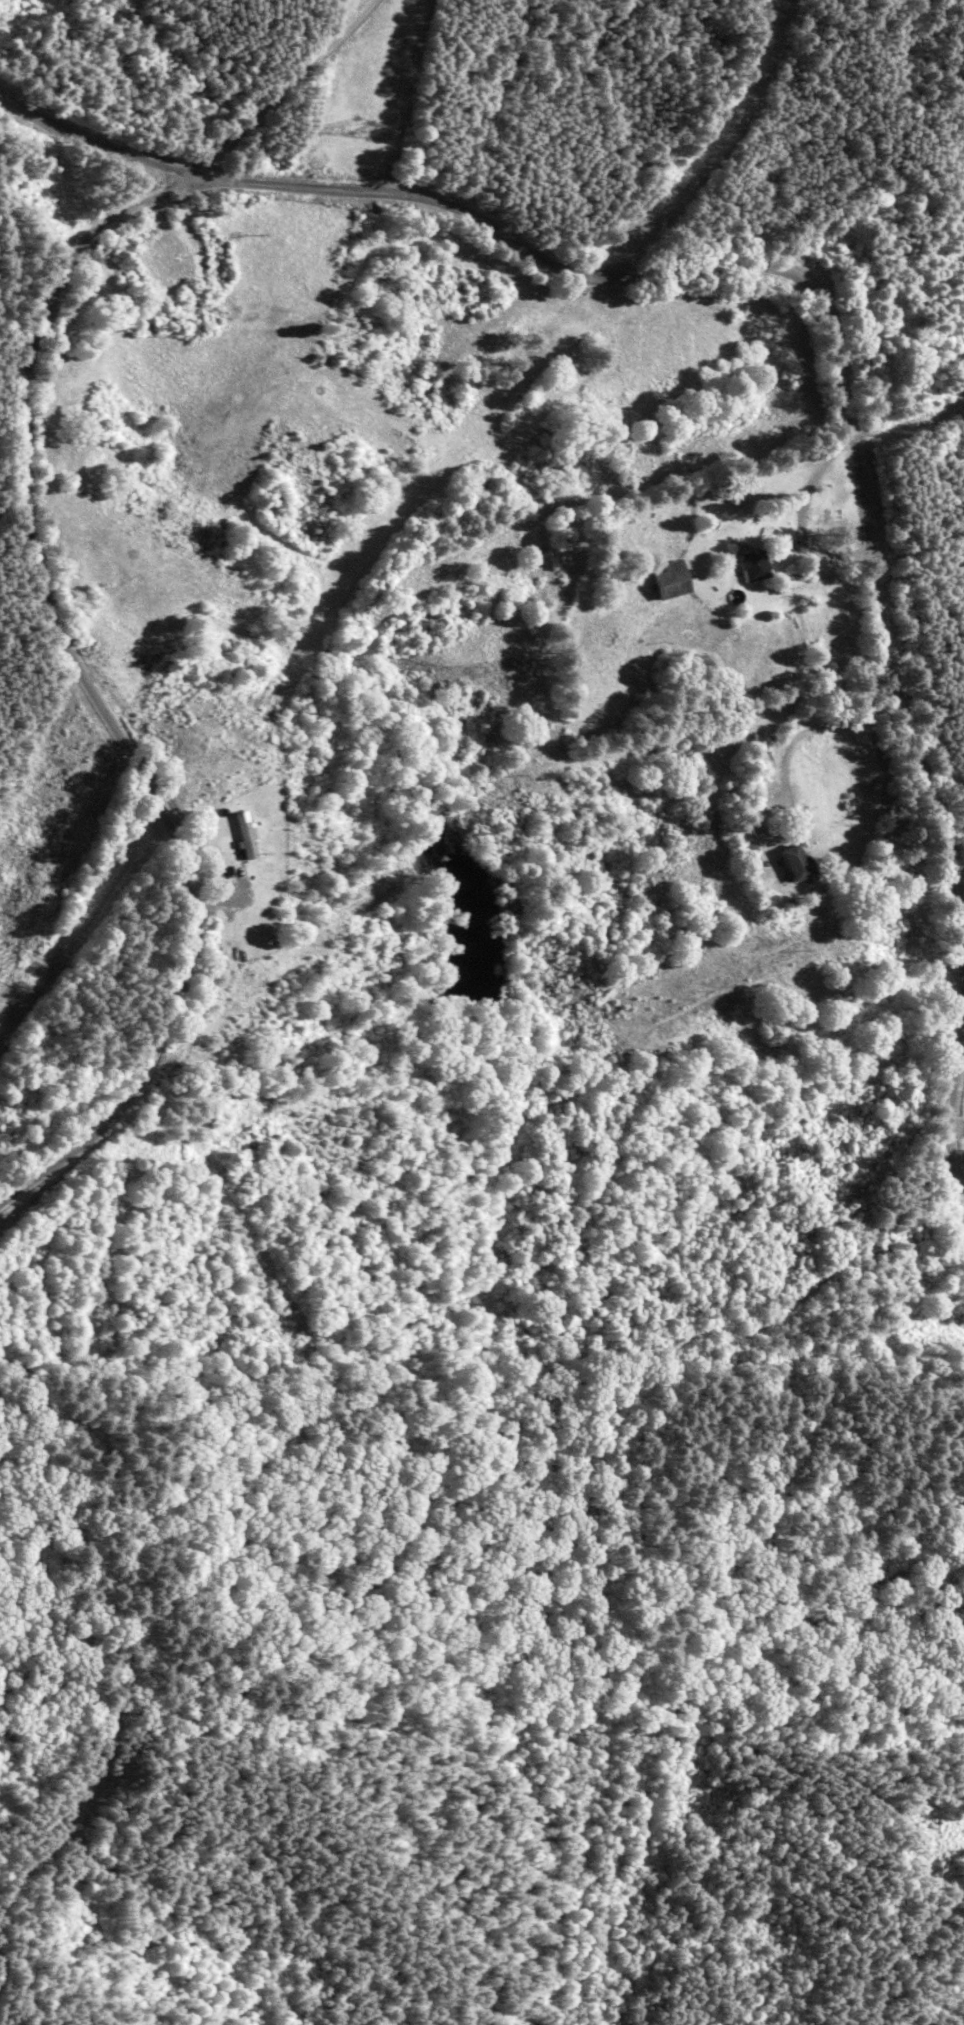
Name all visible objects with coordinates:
power tower: (360, 126)
road: (721, 216)
building: (749, 566)
building: (665, 581)
road: (106, 640)
road: (797, 733)
building: (241, 831)
building: (790, 862)

